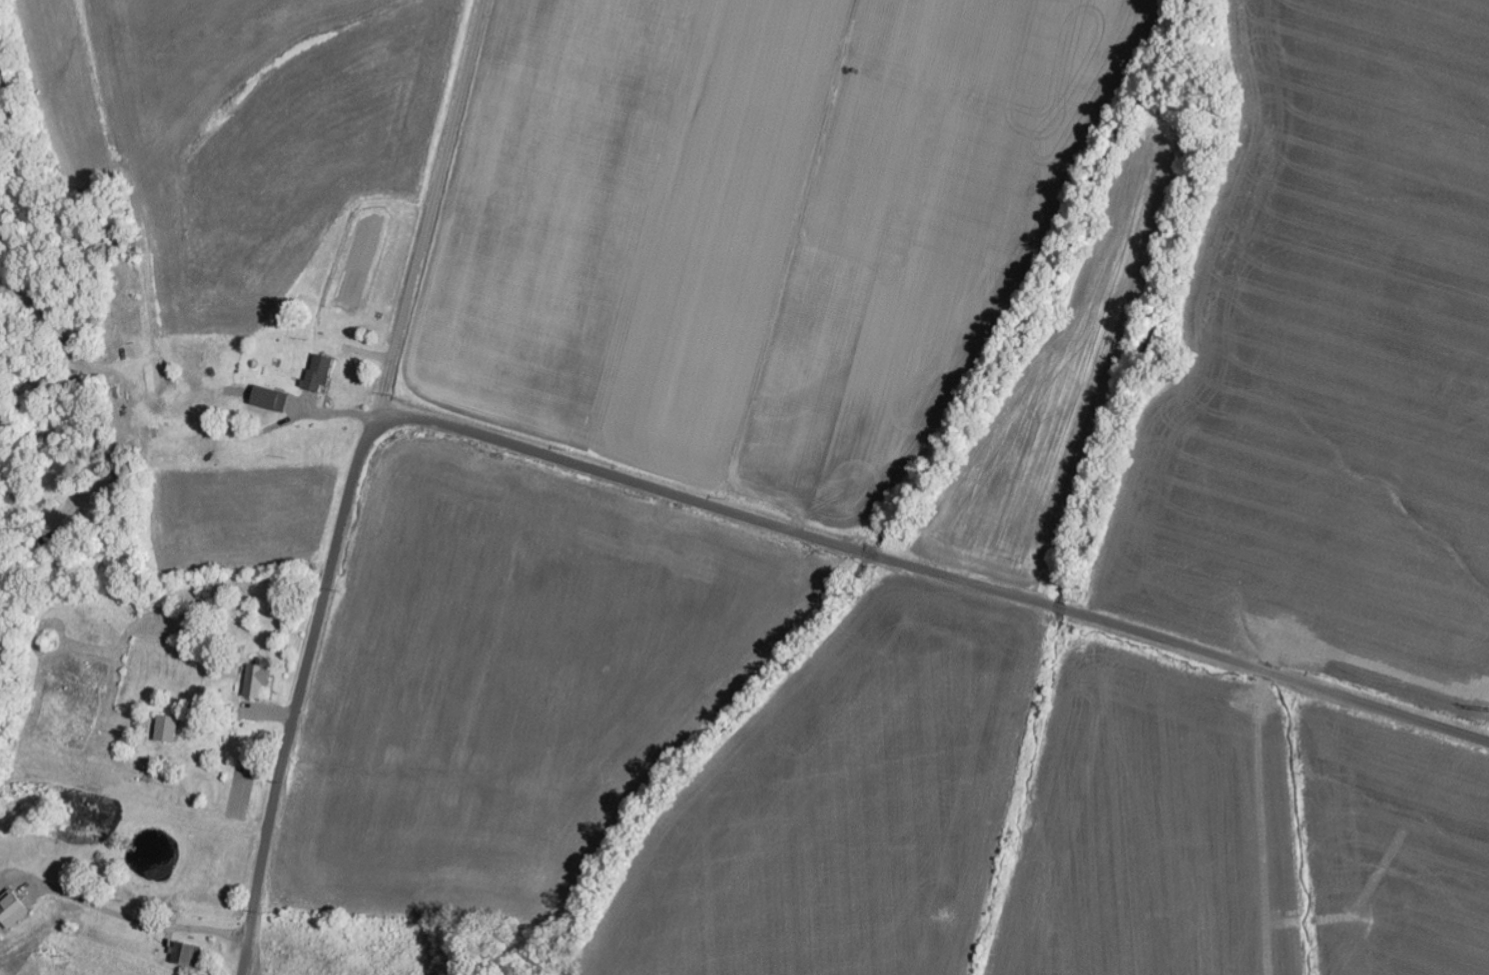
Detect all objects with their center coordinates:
road: (429, 211)
building: (321, 372)
building: (272, 399)
road: (663, 490)
building: (260, 679)
building: (169, 729)
building: (14, 910)
building: (188, 955)

